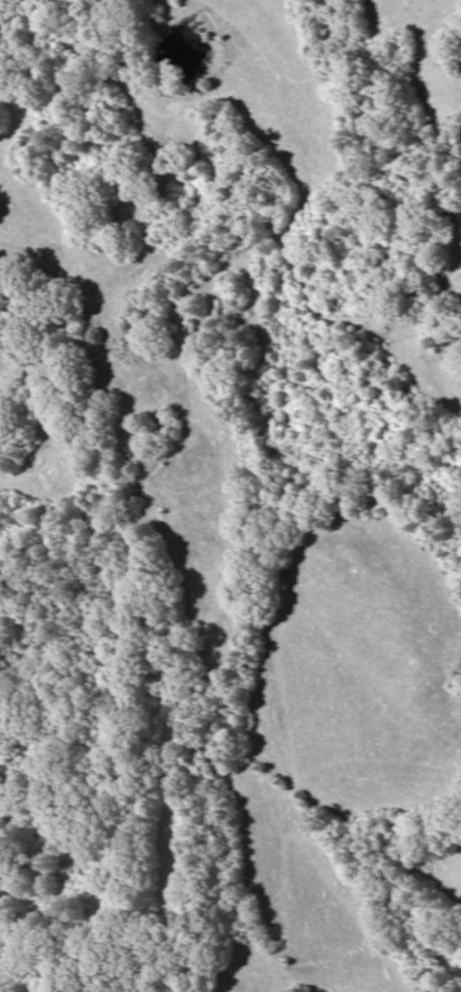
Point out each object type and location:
road: (237, 272)

